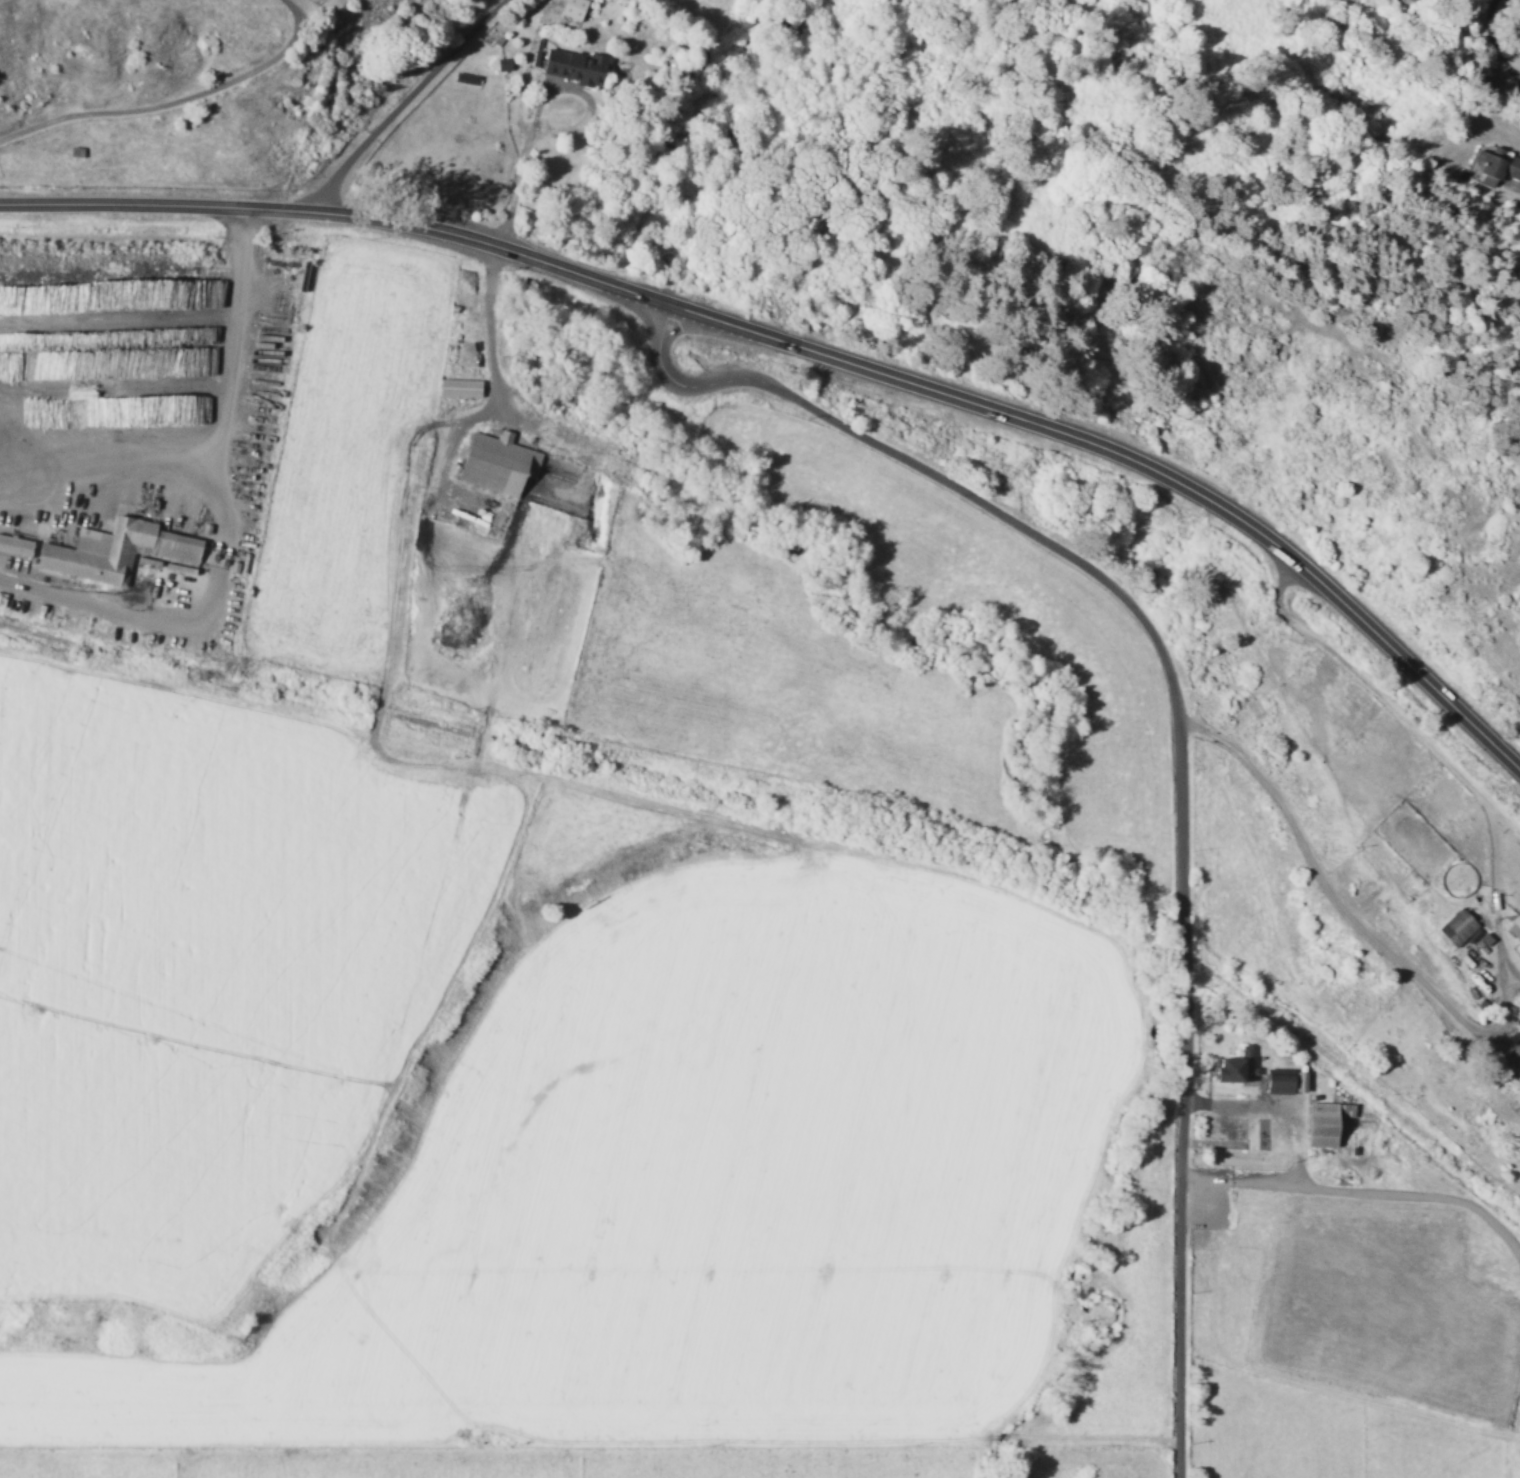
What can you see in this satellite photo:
building: (572, 8)
road: (1491, 43)
building: (503, 64)
building: (575, 66)
road: (173, 100)
road: (400, 104)
building: (1495, 166)
road: (338, 224)
building: (496, 462)
road: (1132, 466)
building: (15, 545)
building: (115, 550)
road: (1182, 732)
road: (1434, 752)
building: (1457, 927)
building: (1514, 927)
building: (1515, 1043)
building: (1235, 1066)
building: (1299, 1081)
building: (1278, 1083)
building: (1320, 1124)

